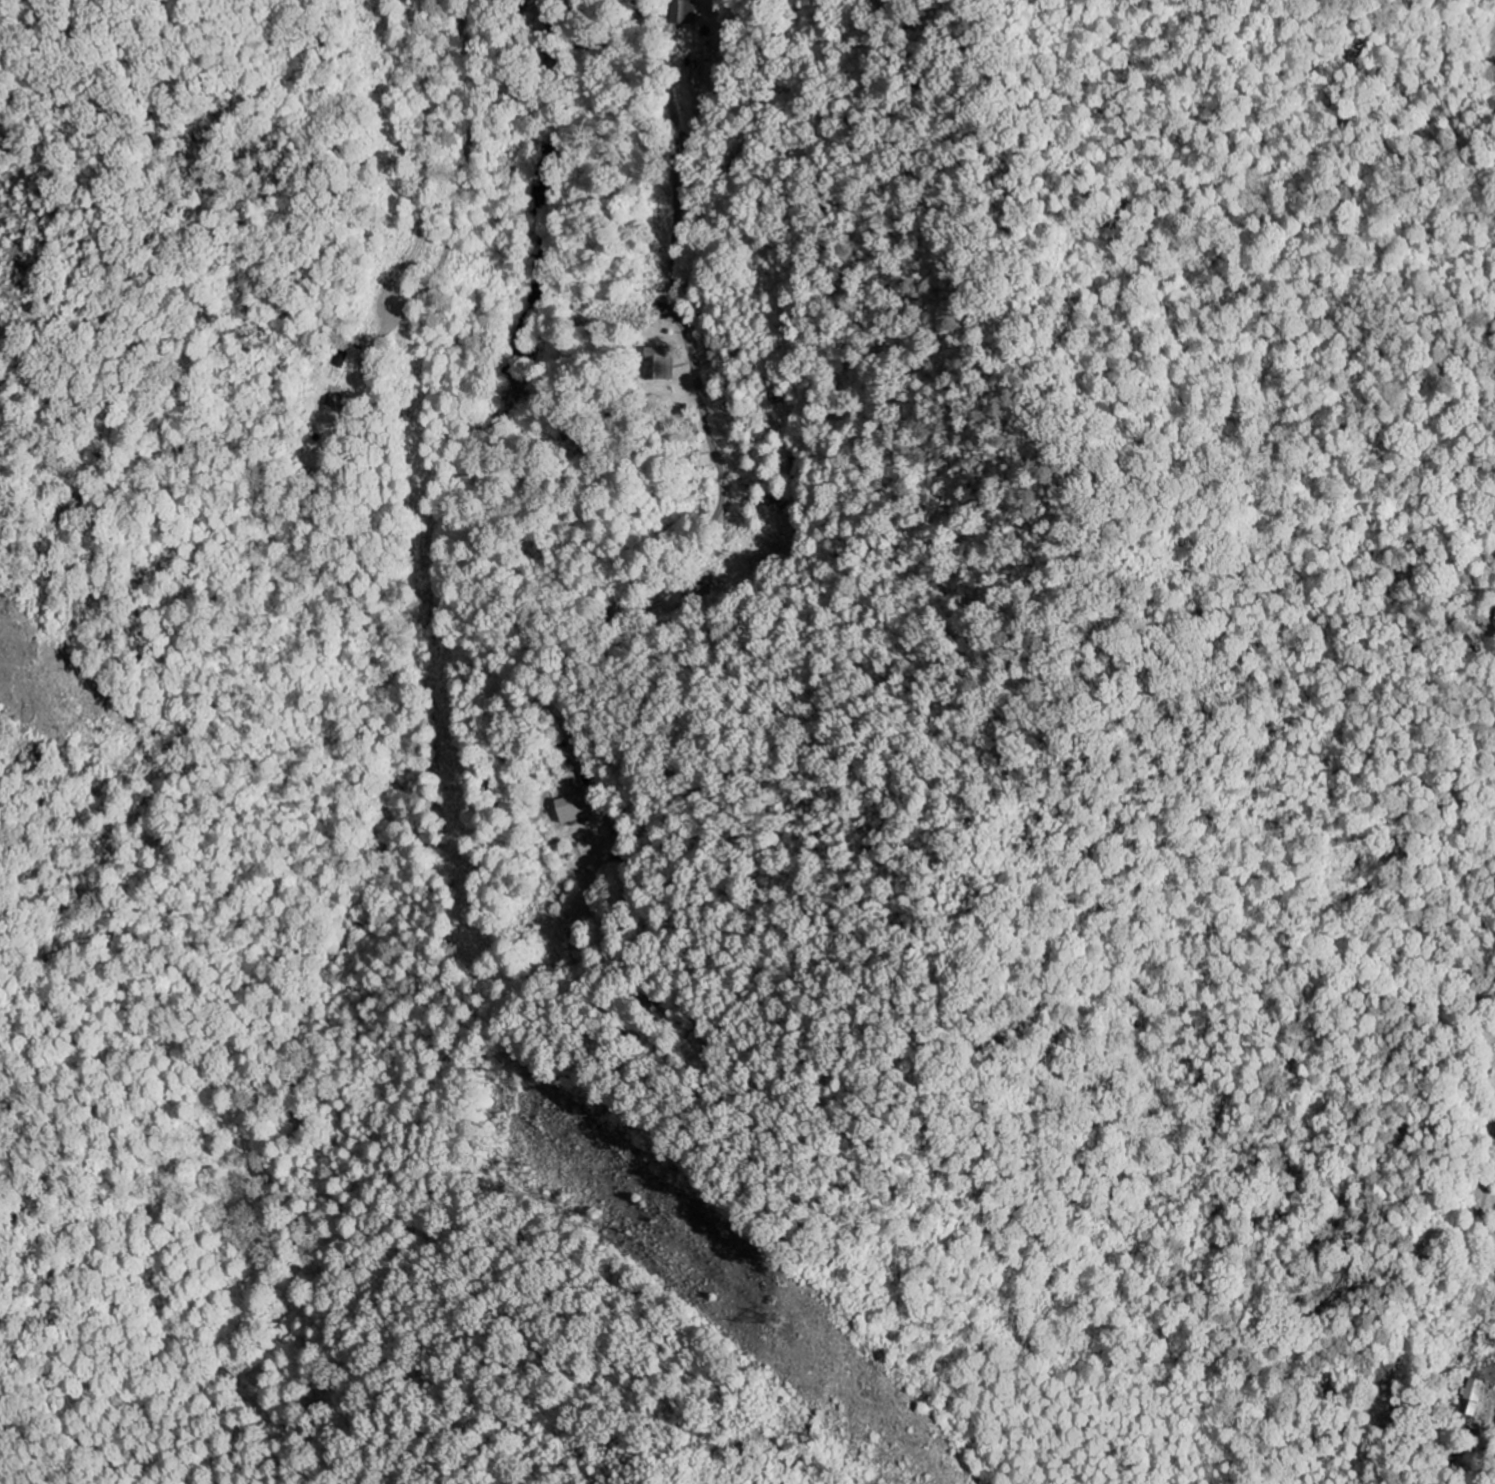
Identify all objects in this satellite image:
building: (682, 12)
road: (394, 316)
building: (340, 359)
building: (659, 364)
road: (696, 375)
building: (573, 808)
building: (1475, 1389)
road: (1493, 1450)

